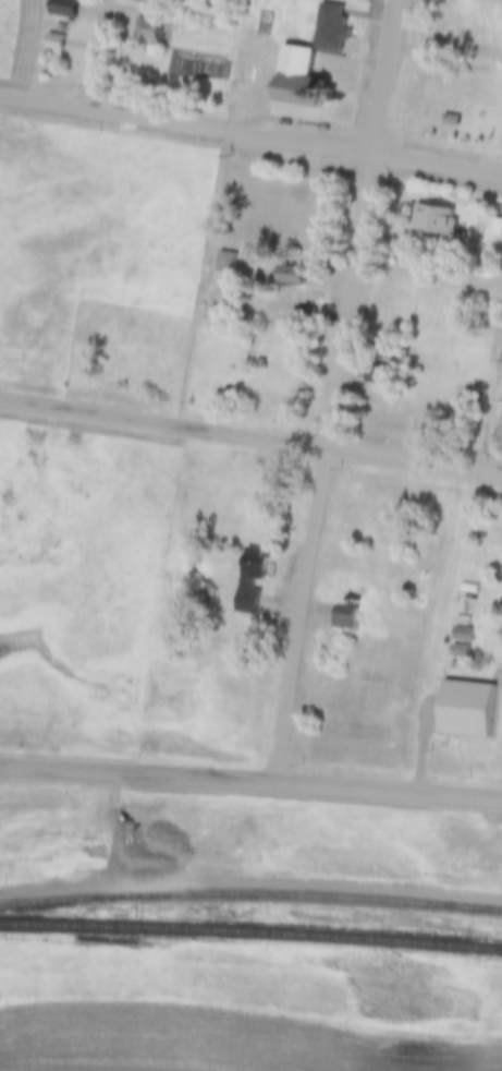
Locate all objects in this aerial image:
building: (146, 0)
building: (65, 9)
building: (62, 28)
building: (331, 28)
building: (149, 33)
building: (56, 43)
road: (105, 55)
road: (390, 77)
building: (299, 80)
building: (451, 121)
road: (250, 134)
building: (433, 220)
building: (497, 228)
building: (222, 252)
building: (293, 278)
building: (486, 293)
building: (305, 316)
building: (378, 375)
road: (250, 441)
road: (329, 470)
building: (250, 566)
building: (472, 588)
building: (346, 618)
building: (464, 619)
building: (250, 623)
building: (464, 635)
building: (461, 651)
building: (464, 703)
road: (250, 783)
railway: (250, 891)
railway: (250, 932)

